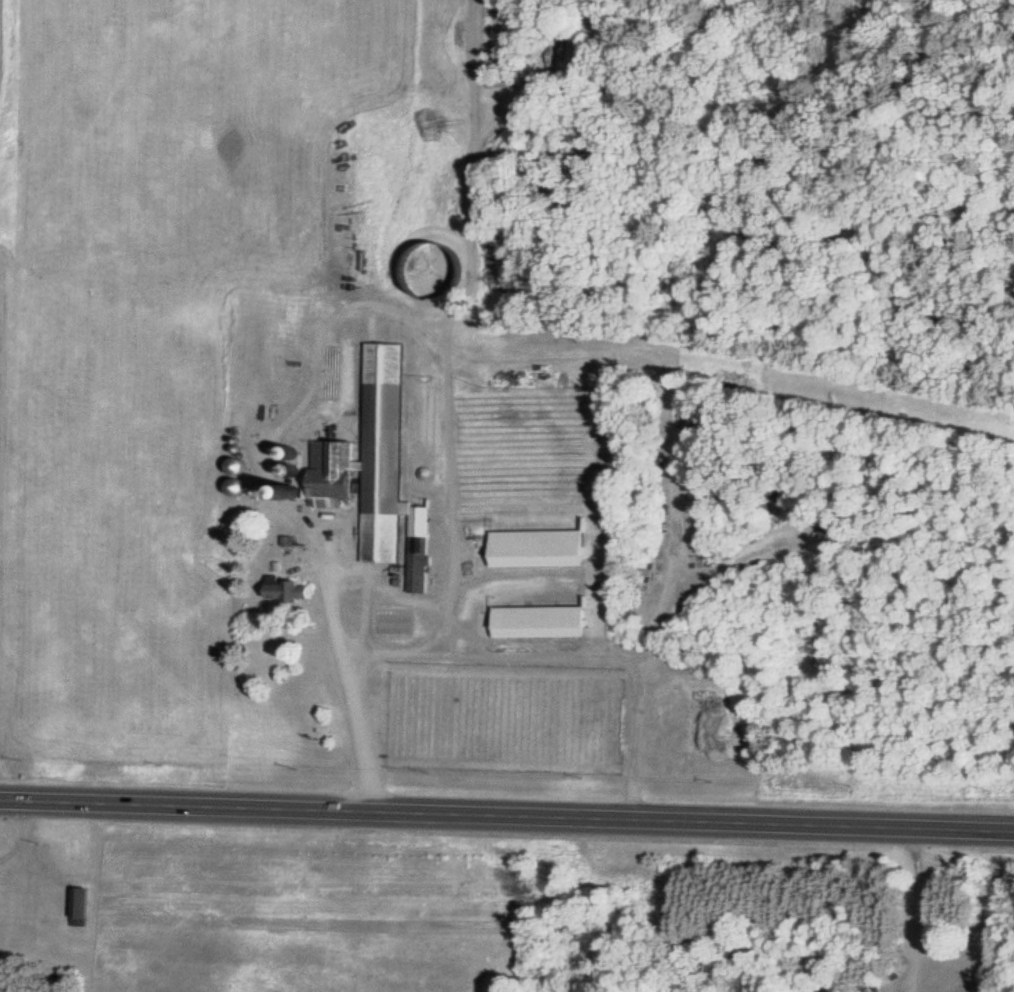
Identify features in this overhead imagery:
building: (375, 470)
building: (829, 530)
building: (536, 548)
building: (285, 590)
building: (352, 592)
building: (538, 622)
road: (507, 817)
building: (77, 906)

